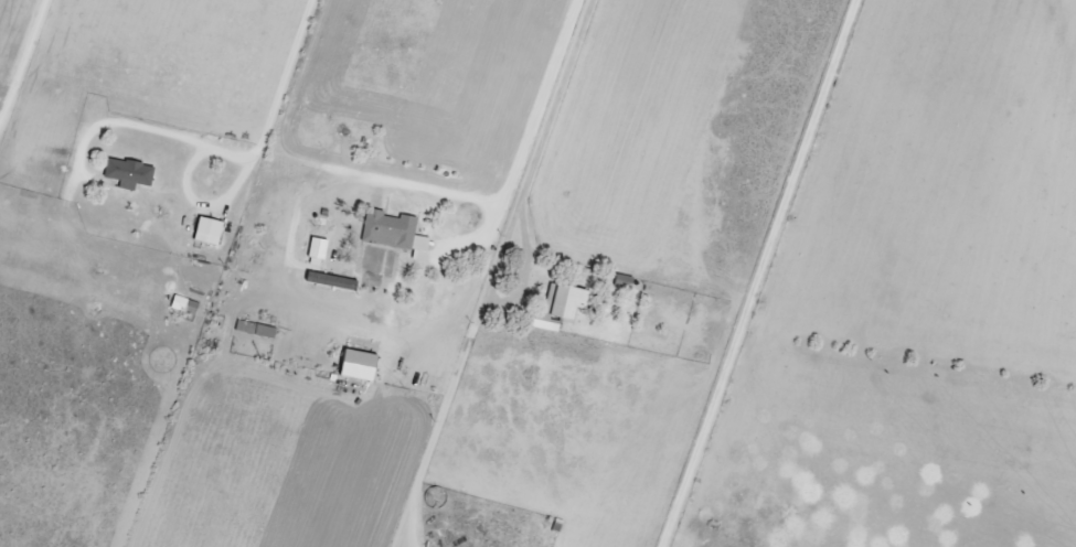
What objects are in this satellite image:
road: (24, 61)
building: (127, 172)
building: (206, 229)
building: (394, 232)
building: (316, 250)
building: (330, 279)
building: (622, 279)
building: (565, 300)
building: (183, 303)
building: (544, 321)
building: (244, 325)
building: (264, 330)
building: (356, 364)

